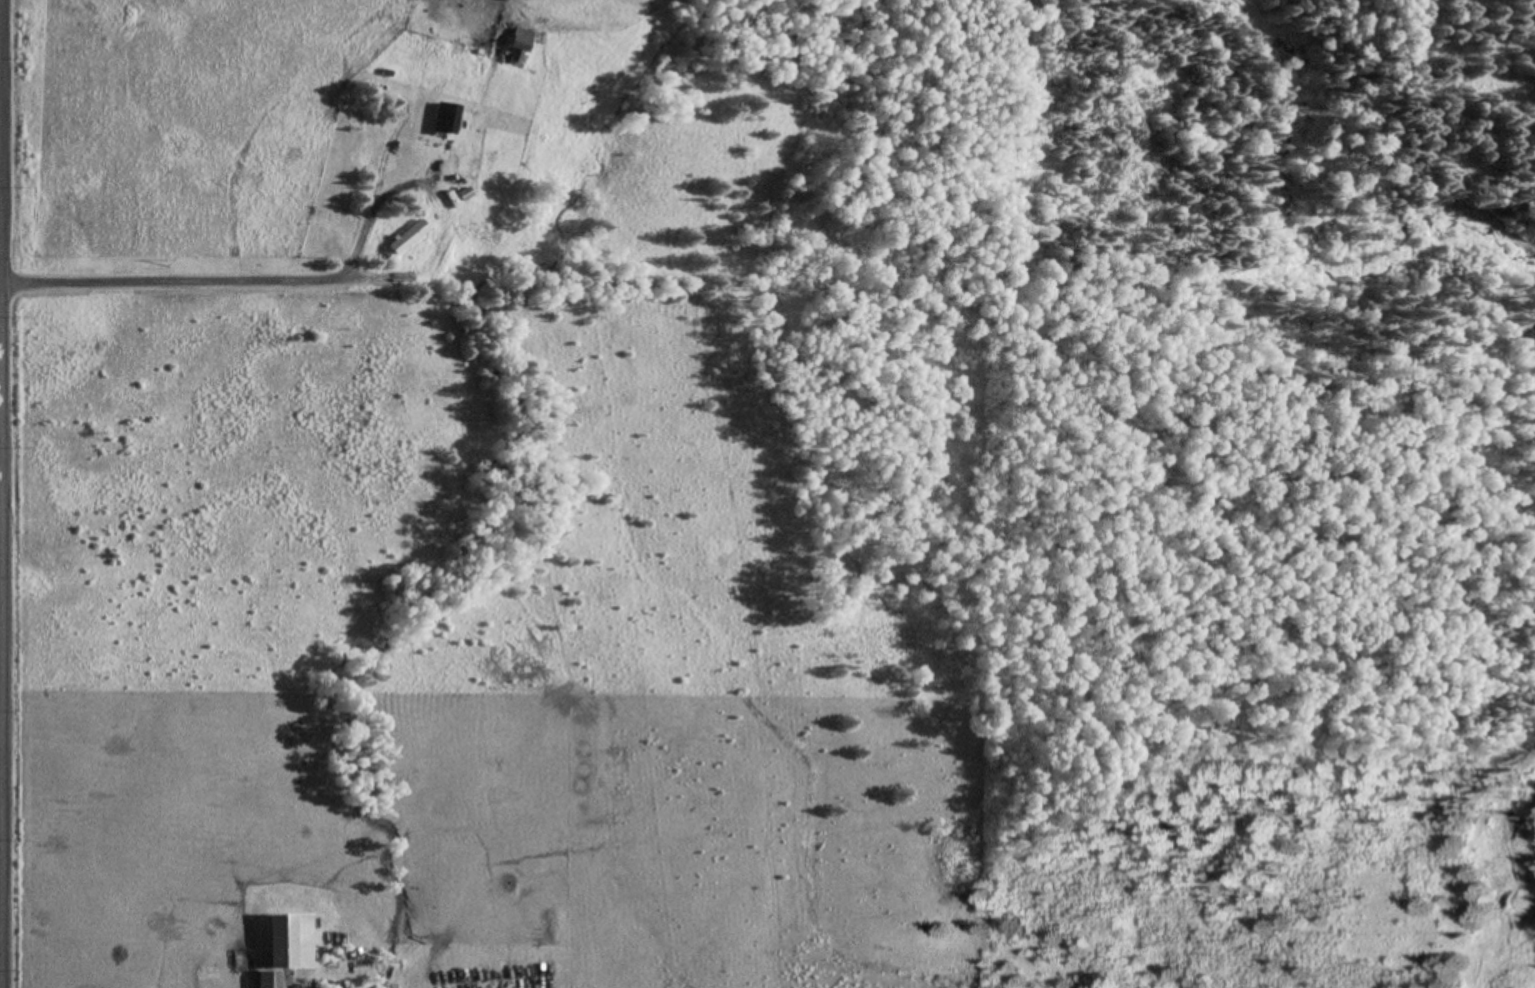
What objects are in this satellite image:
building: (514, 45)
building: (440, 117)
crop: (185, 131)
crop: (563, 140)
building: (403, 237)
road: (176, 277)
crop: (449, 645)
building: (280, 946)

